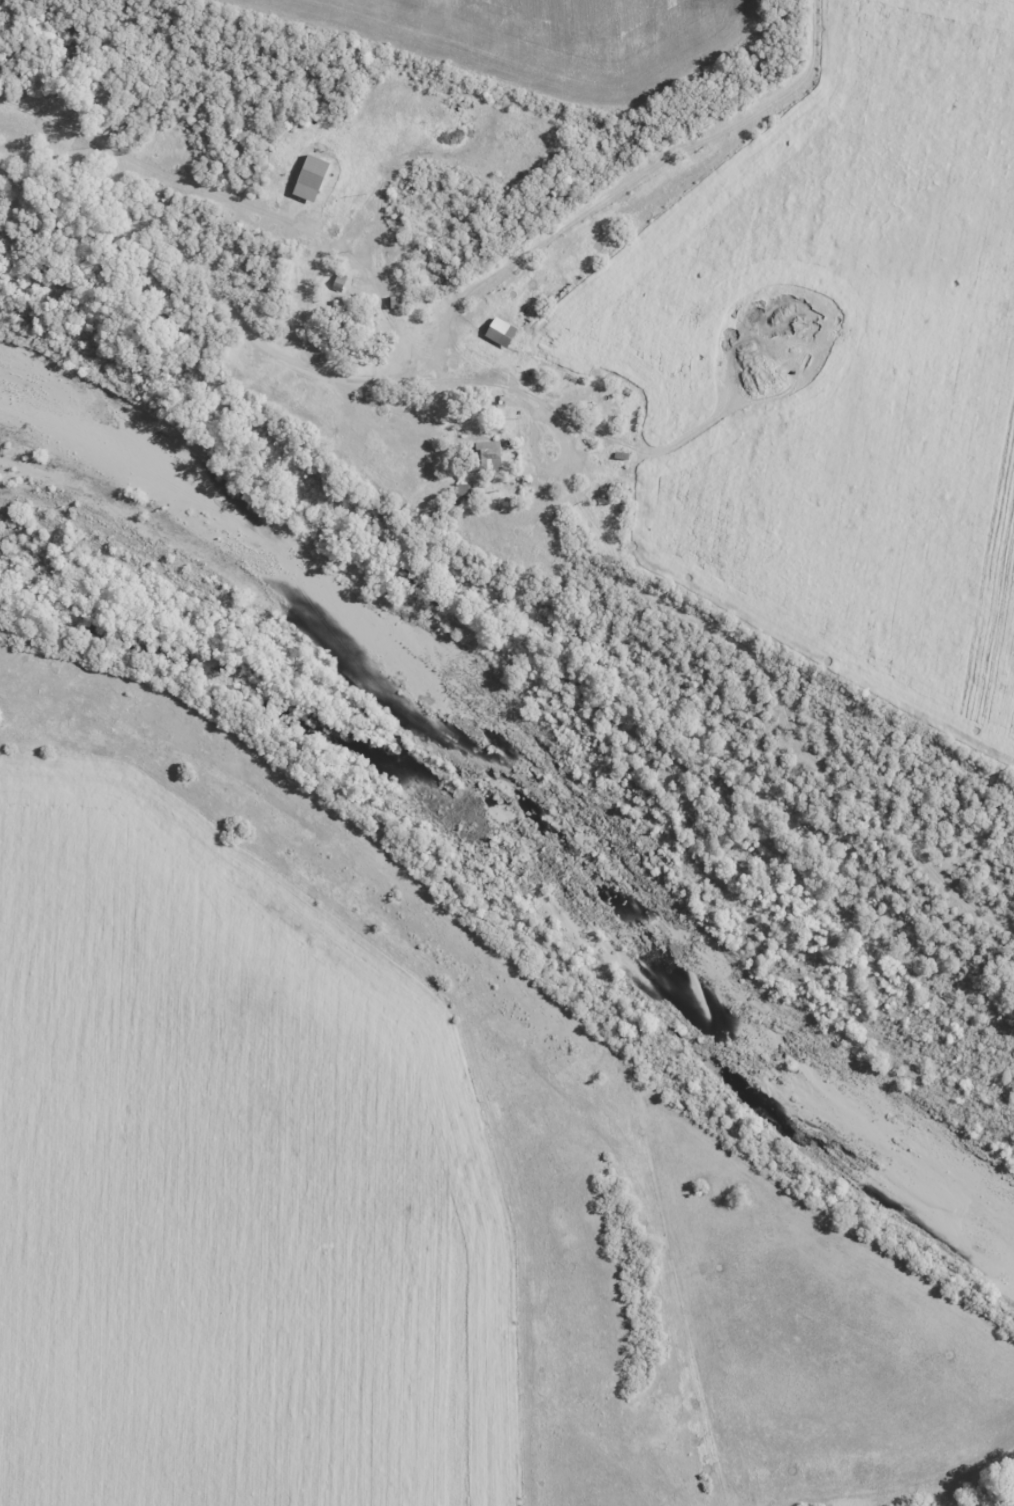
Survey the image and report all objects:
road: (624, 196)
road: (238, 206)
building: (394, 303)
building: (337, 309)
building: (512, 333)
building: (355, 340)
building: (489, 456)
road: (562, 469)

